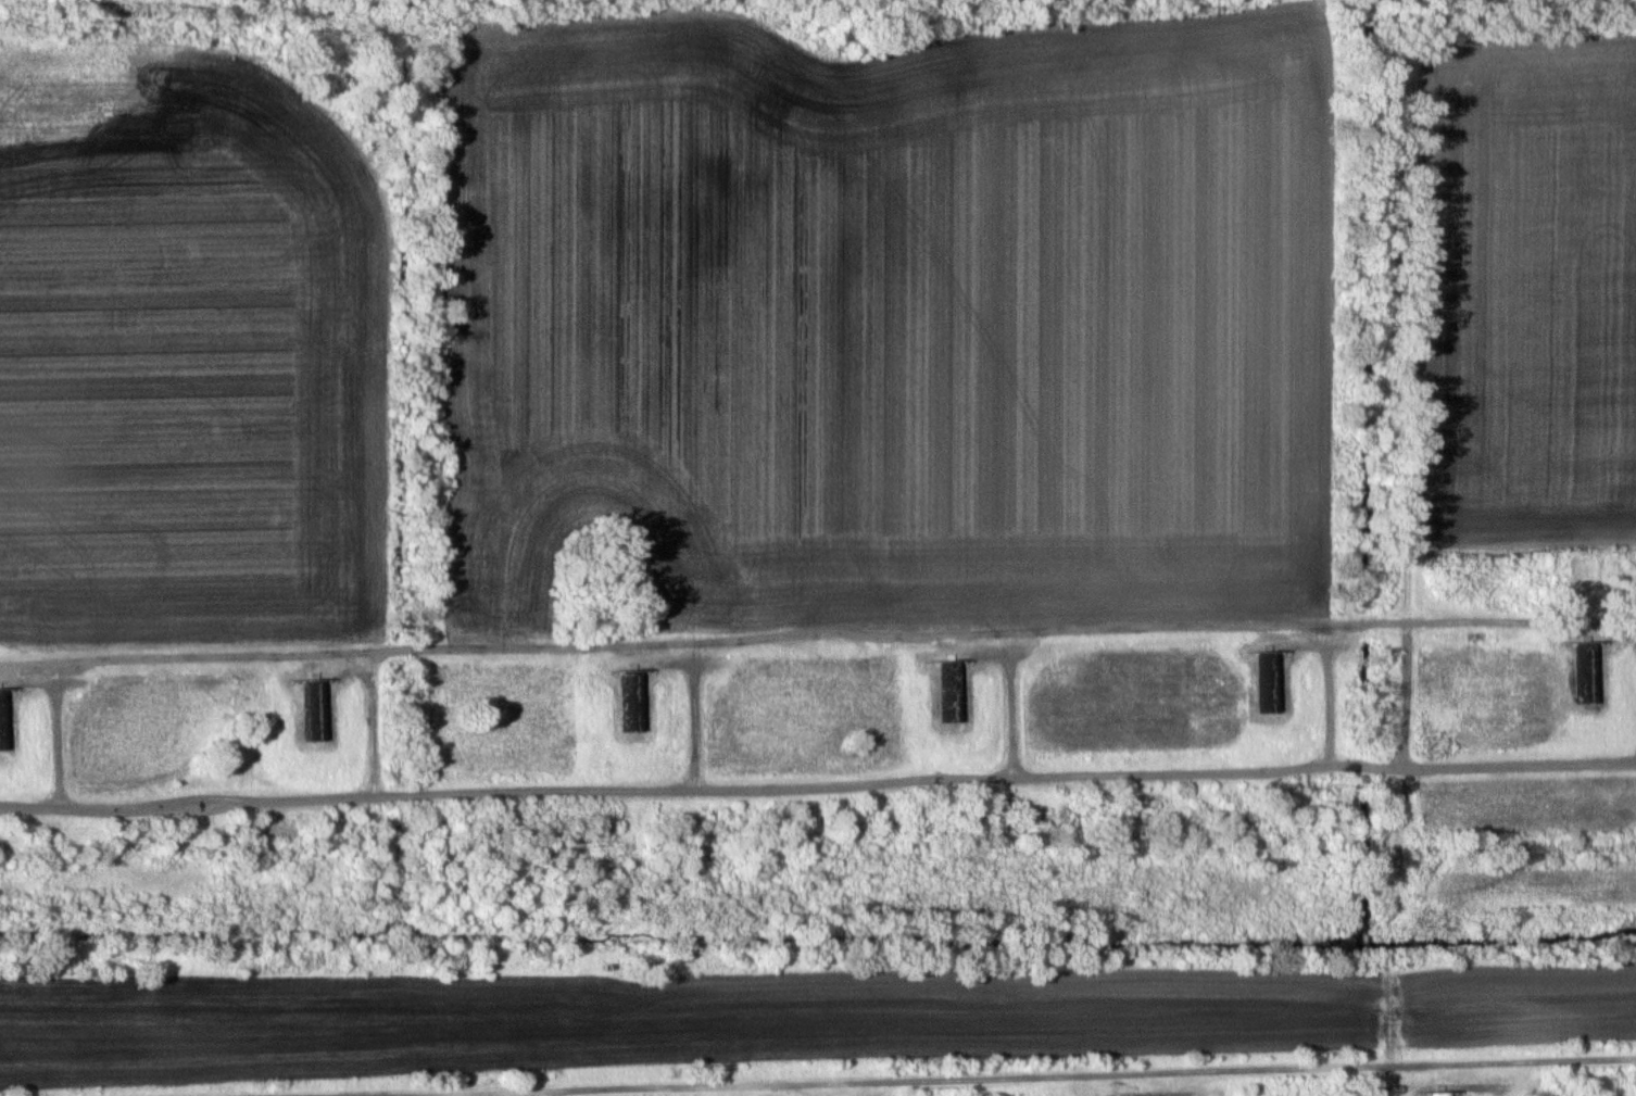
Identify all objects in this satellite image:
road: (697, 630)
building: (1477, 637)
building: (1586, 673)
building: (1268, 683)
building: (632, 701)
building: (314, 709)
building: (951, 713)
building: (3, 719)
road: (818, 784)
road: (1397, 853)
road: (1004, 1076)

